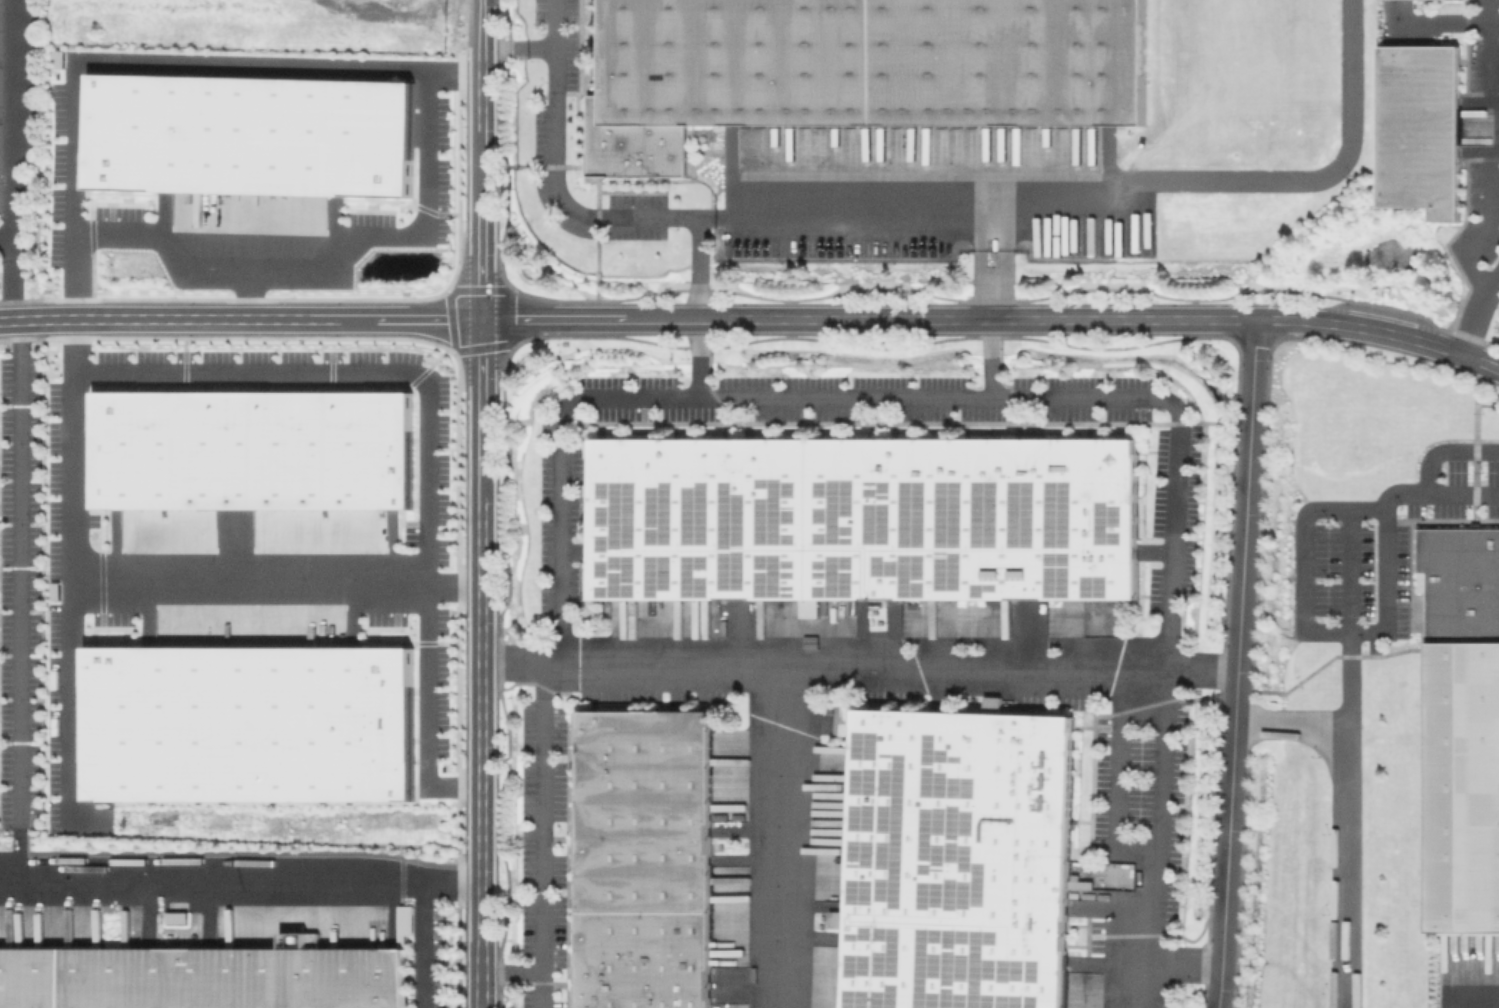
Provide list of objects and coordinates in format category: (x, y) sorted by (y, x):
road: (481, 25)
road: (1492, 31)
road: (517, 49)
road: (1485, 60)
road: (152, 62)
building: (855, 70)
building: (1422, 130)
road: (11, 131)
building: (251, 137)
road: (481, 141)
road: (1105, 197)
building: (0, 210)
road: (617, 217)
road: (5, 238)
road: (326, 240)
road: (992, 260)
road: (481, 275)
road: (247, 279)
road: (10, 291)
road: (1476, 314)
road: (36, 319)
road: (277, 319)
road: (535, 319)
road: (1047, 319)
road: (990, 358)
road: (353, 371)
road: (871, 397)
building: (255, 450)
road: (1441, 455)
building: (866, 519)
road: (1296, 551)
road: (1343, 573)
road: (481, 584)
road: (143, 587)
road: (19, 595)
road: (1385, 628)
road: (1237, 663)
road: (1011, 665)
road: (784, 683)
road: (74, 701)
road: (424, 710)
building: (249, 722)
building: (1461, 725)
road: (1116, 781)
road: (542, 835)
road: (1159, 840)
building: (647, 860)
building: (960, 861)
road: (1346, 865)
road: (211, 870)
road: (422, 913)
building: (403, 923)
road: (480, 929)
road: (1177, 964)
road: (511, 973)
building: (200, 977)

